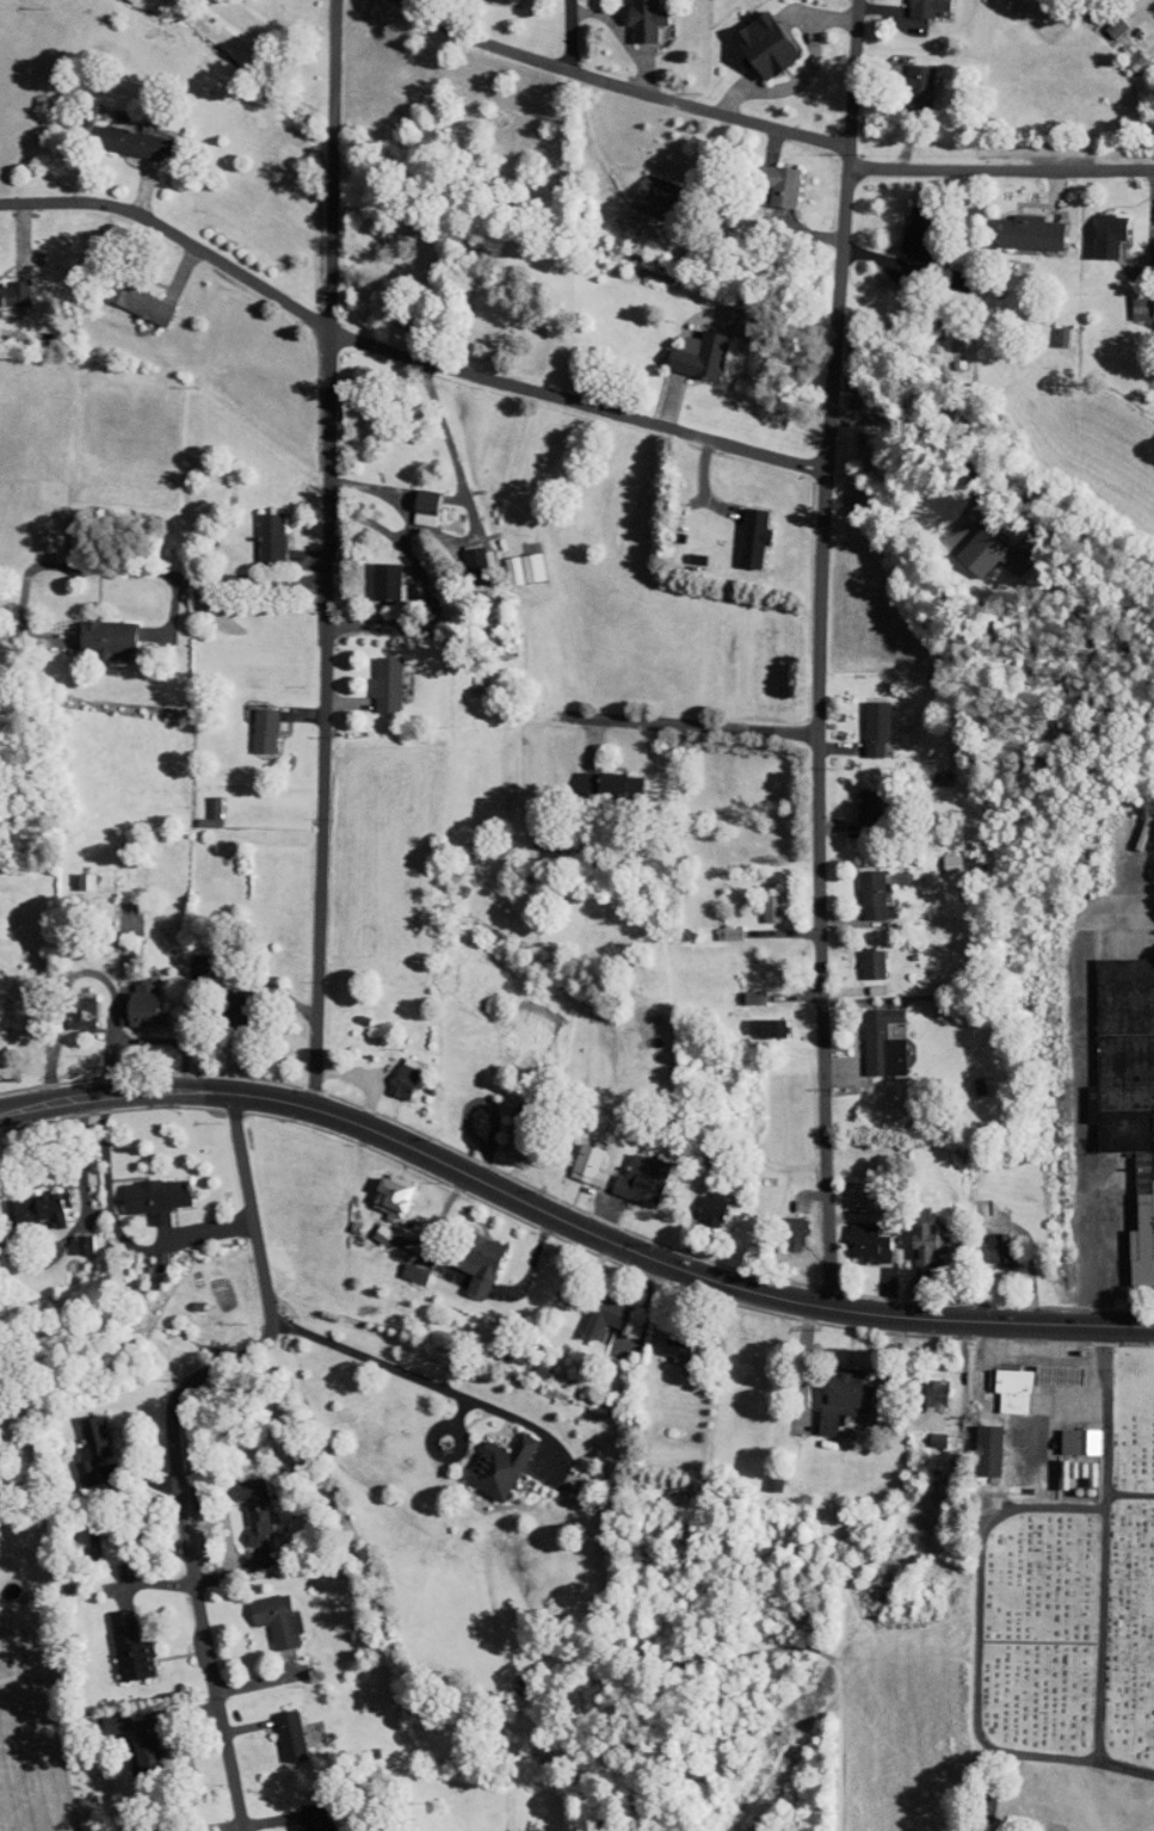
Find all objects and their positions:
building: (909, 4)
building: (631, 16)
road: (573, 35)
building: (752, 38)
building: (1118, 50)
building: (1153, 50)
building: (905, 79)
road: (623, 84)
building: (119, 135)
road: (1001, 169)
building: (763, 175)
building: (640, 186)
building: (906, 220)
building: (1016, 226)
building: (1094, 228)
building: (7, 285)
building: (124, 296)
building: (1125, 301)
building: (684, 349)
road: (403, 352)
building: (412, 500)
building: (255, 531)
building: (739, 531)
building: (32, 535)
building: (976, 545)
road: (328, 553)
building: (463, 556)
building: (511, 561)
building: (371, 574)
road: (252, 579)
building: (94, 633)
road: (820, 653)
building: (372, 678)
building: (862, 719)
building: (249, 723)
road: (671, 725)
building: (569, 775)
building: (605, 776)
building: (854, 799)
building: (197, 806)
building: (937, 855)
building: (72, 873)
building: (859, 887)
building: (758, 896)
building: (715, 925)
building: (184, 956)
building: (858, 956)
building: (740, 990)
building: (125, 995)
building: (66, 1005)
building: (10, 1012)
building: (752, 1019)
building: (869, 1034)
building: (391, 1069)
building: (1122, 1089)
building: (504, 1134)
building: (574, 1157)
building: (628, 1171)
building: (378, 1186)
building: (141, 1190)
building: (29, 1200)
building: (697, 1201)
road: (569, 1222)
building: (779, 1226)
building: (854, 1235)
building: (912, 1235)
building: (70, 1237)
building: (987, 1240)
building: (465, 1254)
building: (402, 1266)
building: (592, 1307)
building: (664, 1338)
building: (1045, 1367)
road: (395, 1368)
building: (999, 1382)
building: (921, 1388)
building: (829, 1391)
building: (1066, 1434)
road: (168, 1437)
building: (78, 1441)
building: (974, 1442)
building: (486, 1457)
building: (241, 1502)
road: (1100, 1571)
road: (980, 1602)
park: (1072, 1610)
building: (263, 1613)
building: (115, 1639)
building: (98, 1716)
building: (276, 1727)
building: (129, 1740)
building: (300, 1814)

